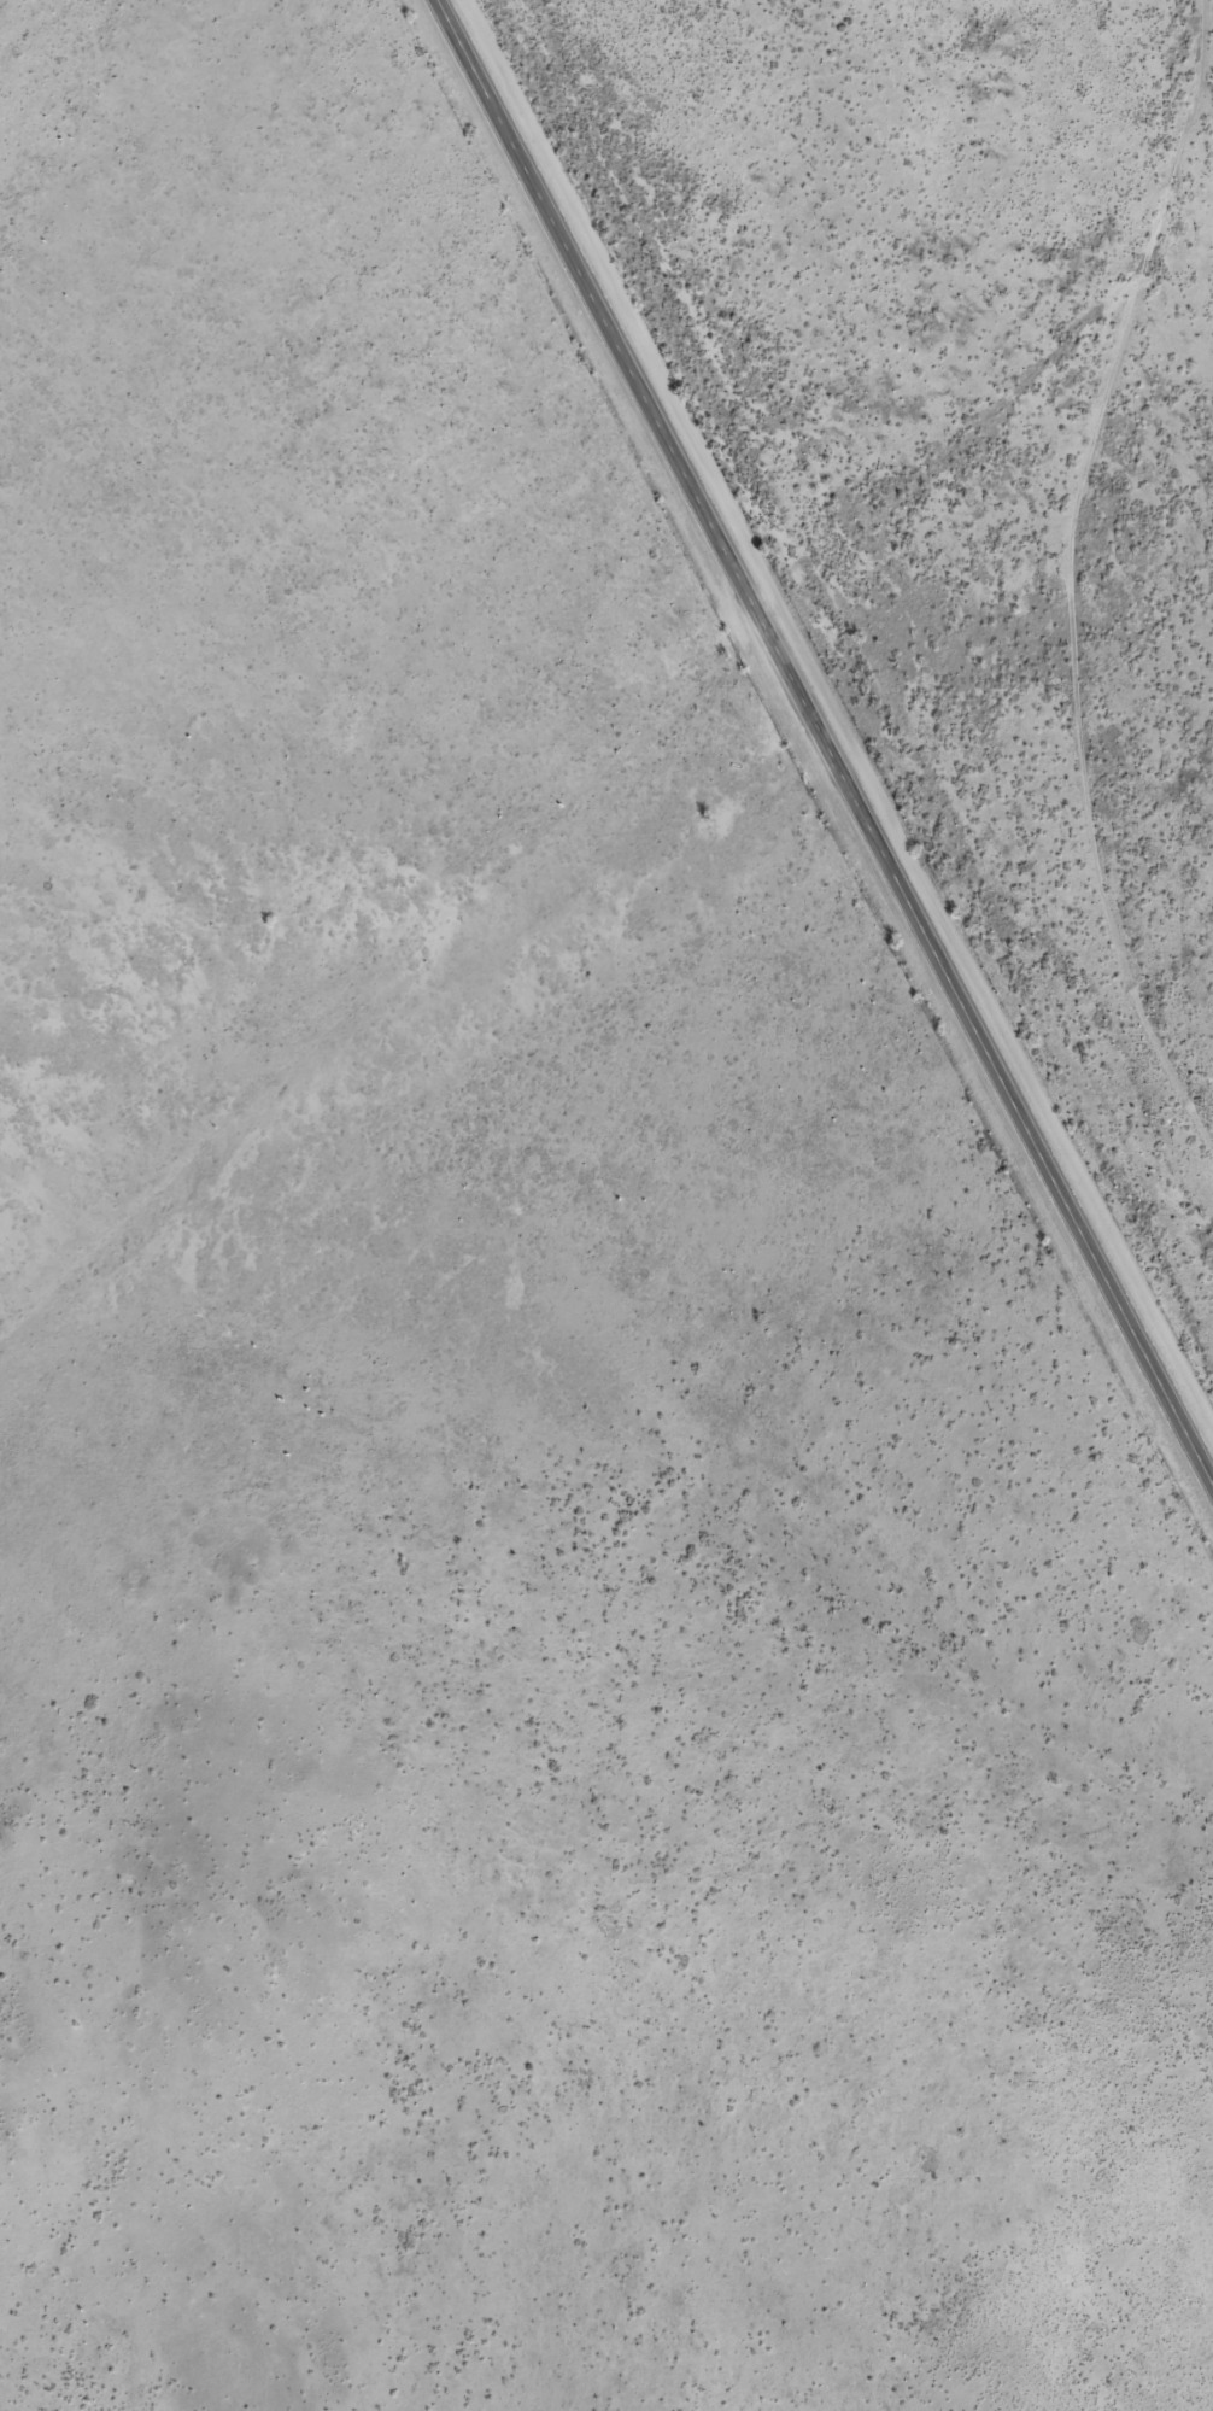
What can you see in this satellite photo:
road: (826, 739)

